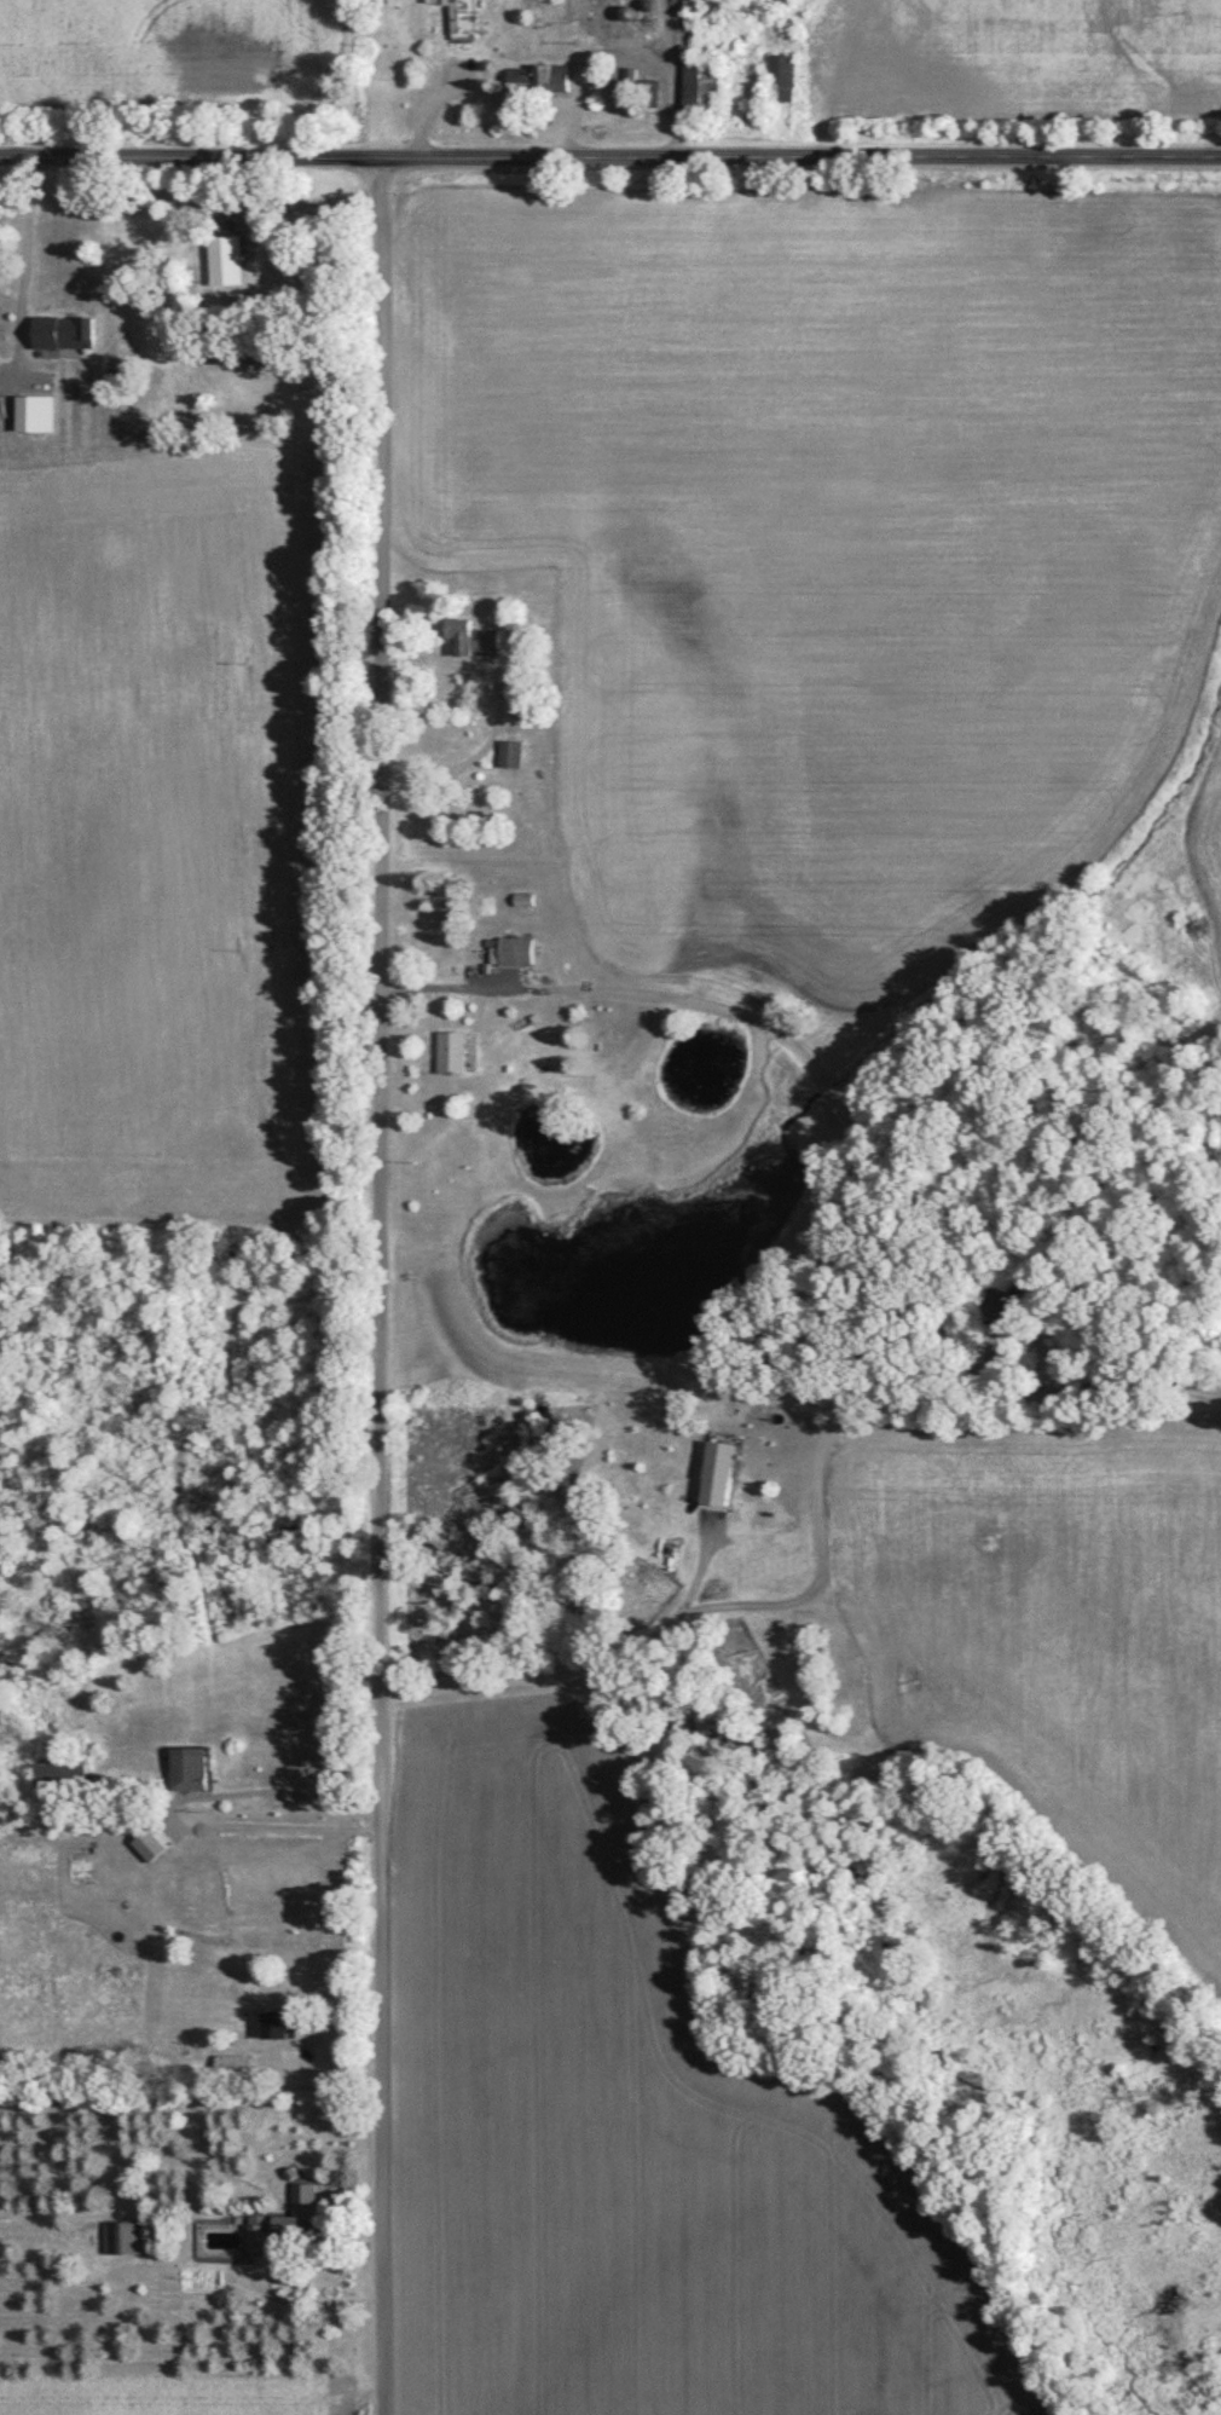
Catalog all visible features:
building: (462, 16)
building: (781, 75)
building: (545, 76)
road: (609, 162)
building: (224, 258)
building: (63, 330)
building: (35, 411)
building: (473, 636)
building: (509, 752)
building: (511, 949)
building: (451, 1051)
road: (390, 1288)
building: (717, 1469)
building: (187, 1766)
building: (59, 1770)
building: (150, 1841)
building: (272, 2022)
building: (230, 2064)
building: (285, 2218)
building: (126, 2236)

